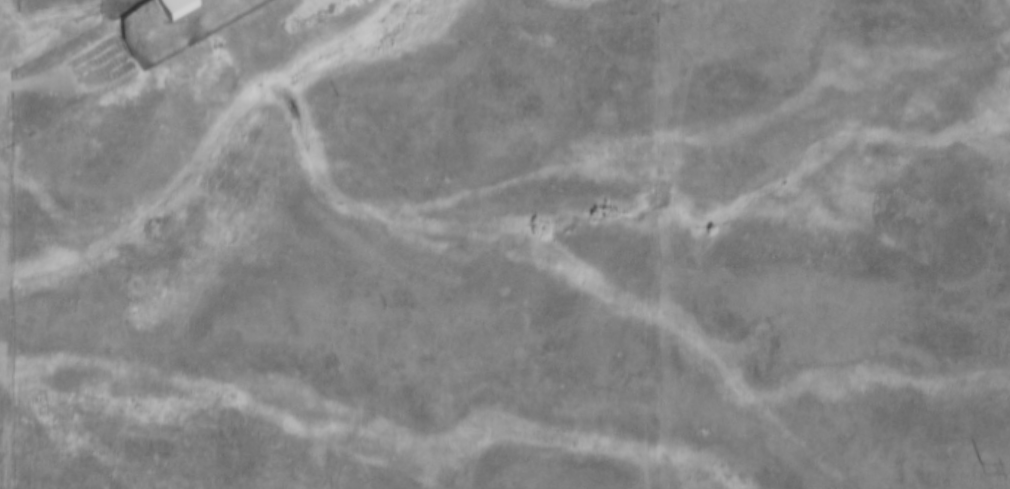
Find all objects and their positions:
power tower: (982, 467)

